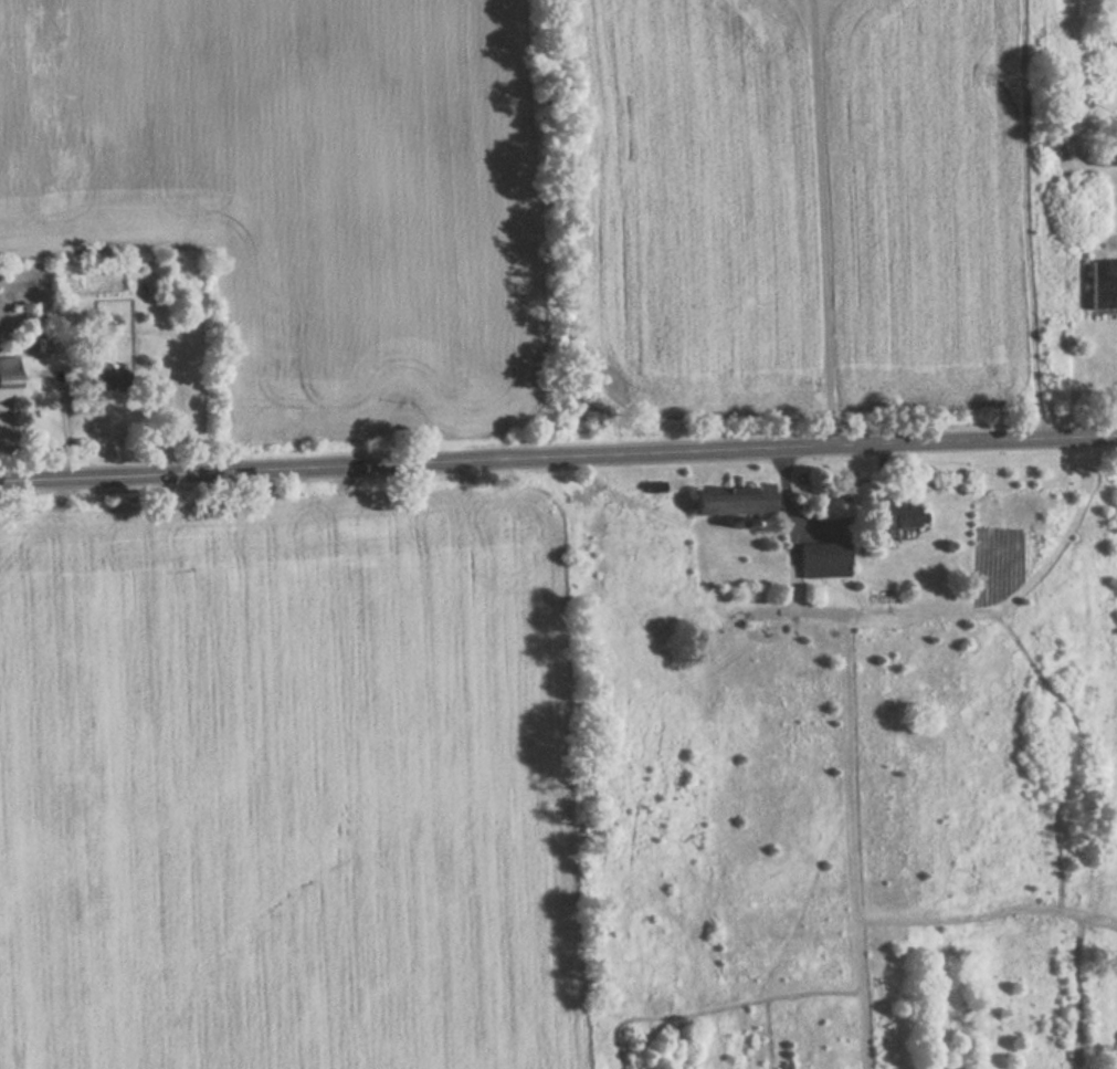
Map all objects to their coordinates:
building: (1107, 156)
road: (1028, 220)
road: (821, 224)
building: (1104, 284)
building: (8, 379)
road: (558, 459)
building: (733, 497)
building: (897, 514)
building: (824, 557)

